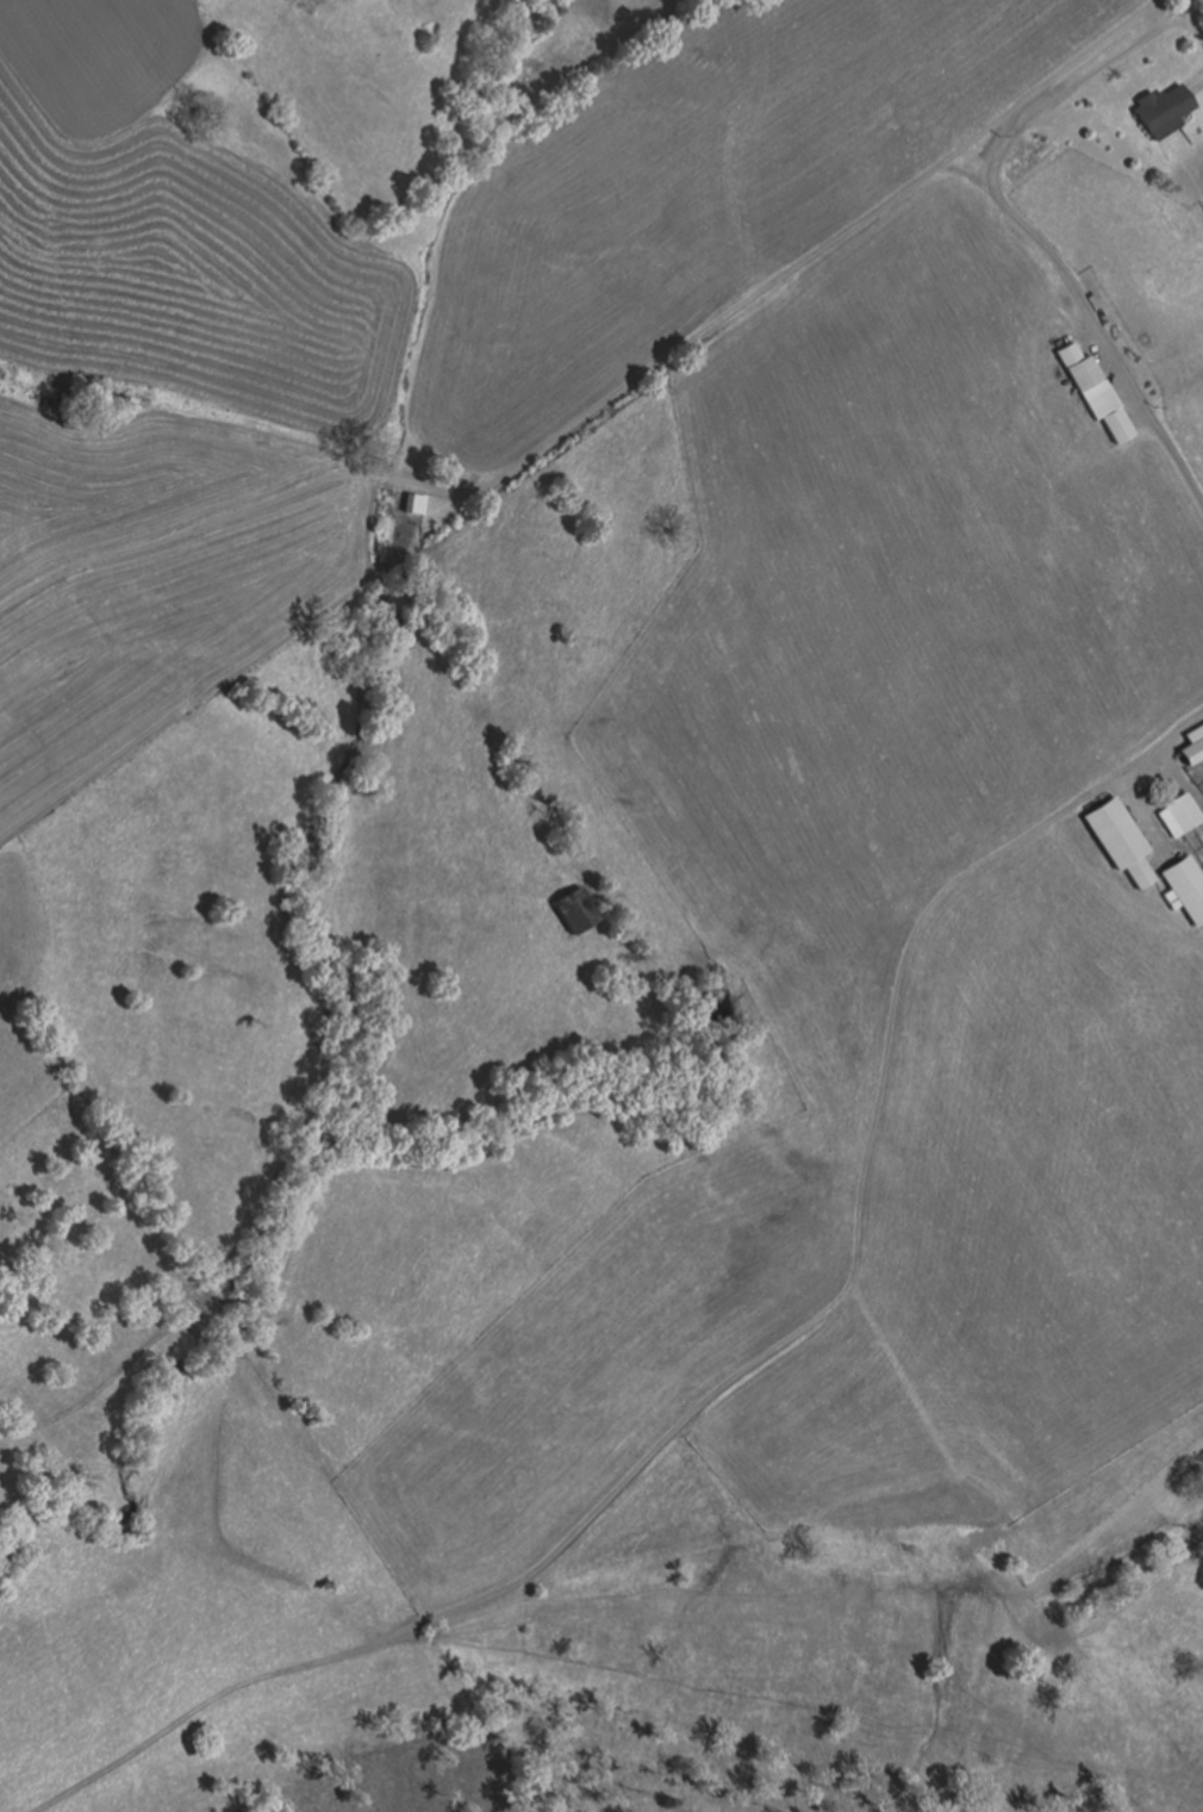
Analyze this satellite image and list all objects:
building: (1164, 112)
road: (1030, 225)
building: (1086, 374)
road: (615, 398)
road: (980, 820)
building: (578, 913)
road: (711, 1416)

